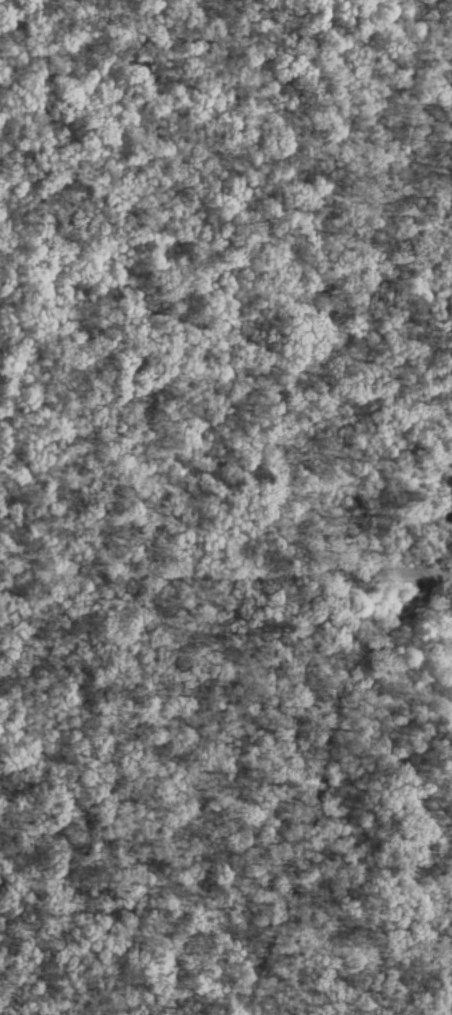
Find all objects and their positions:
road: (226, 572)

